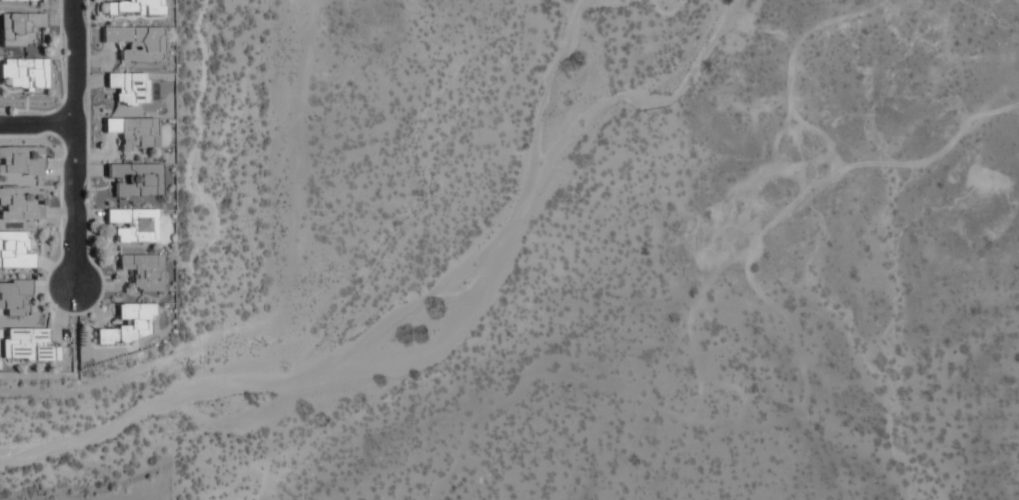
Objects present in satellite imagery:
building: (19, 0)
building: (133, 8)
building: (18, 28)
building: (135, 42)
building: (24, 73)
building: (127, 87)
road: (36, 124)
building: (130, 131)
road: (73, 143)
building: (134, 179)
building: (133, 224)
building: (14, 251)
building: (143, 271)
building: (14, 297)
building: (125, 325)
building: (27, 345)

